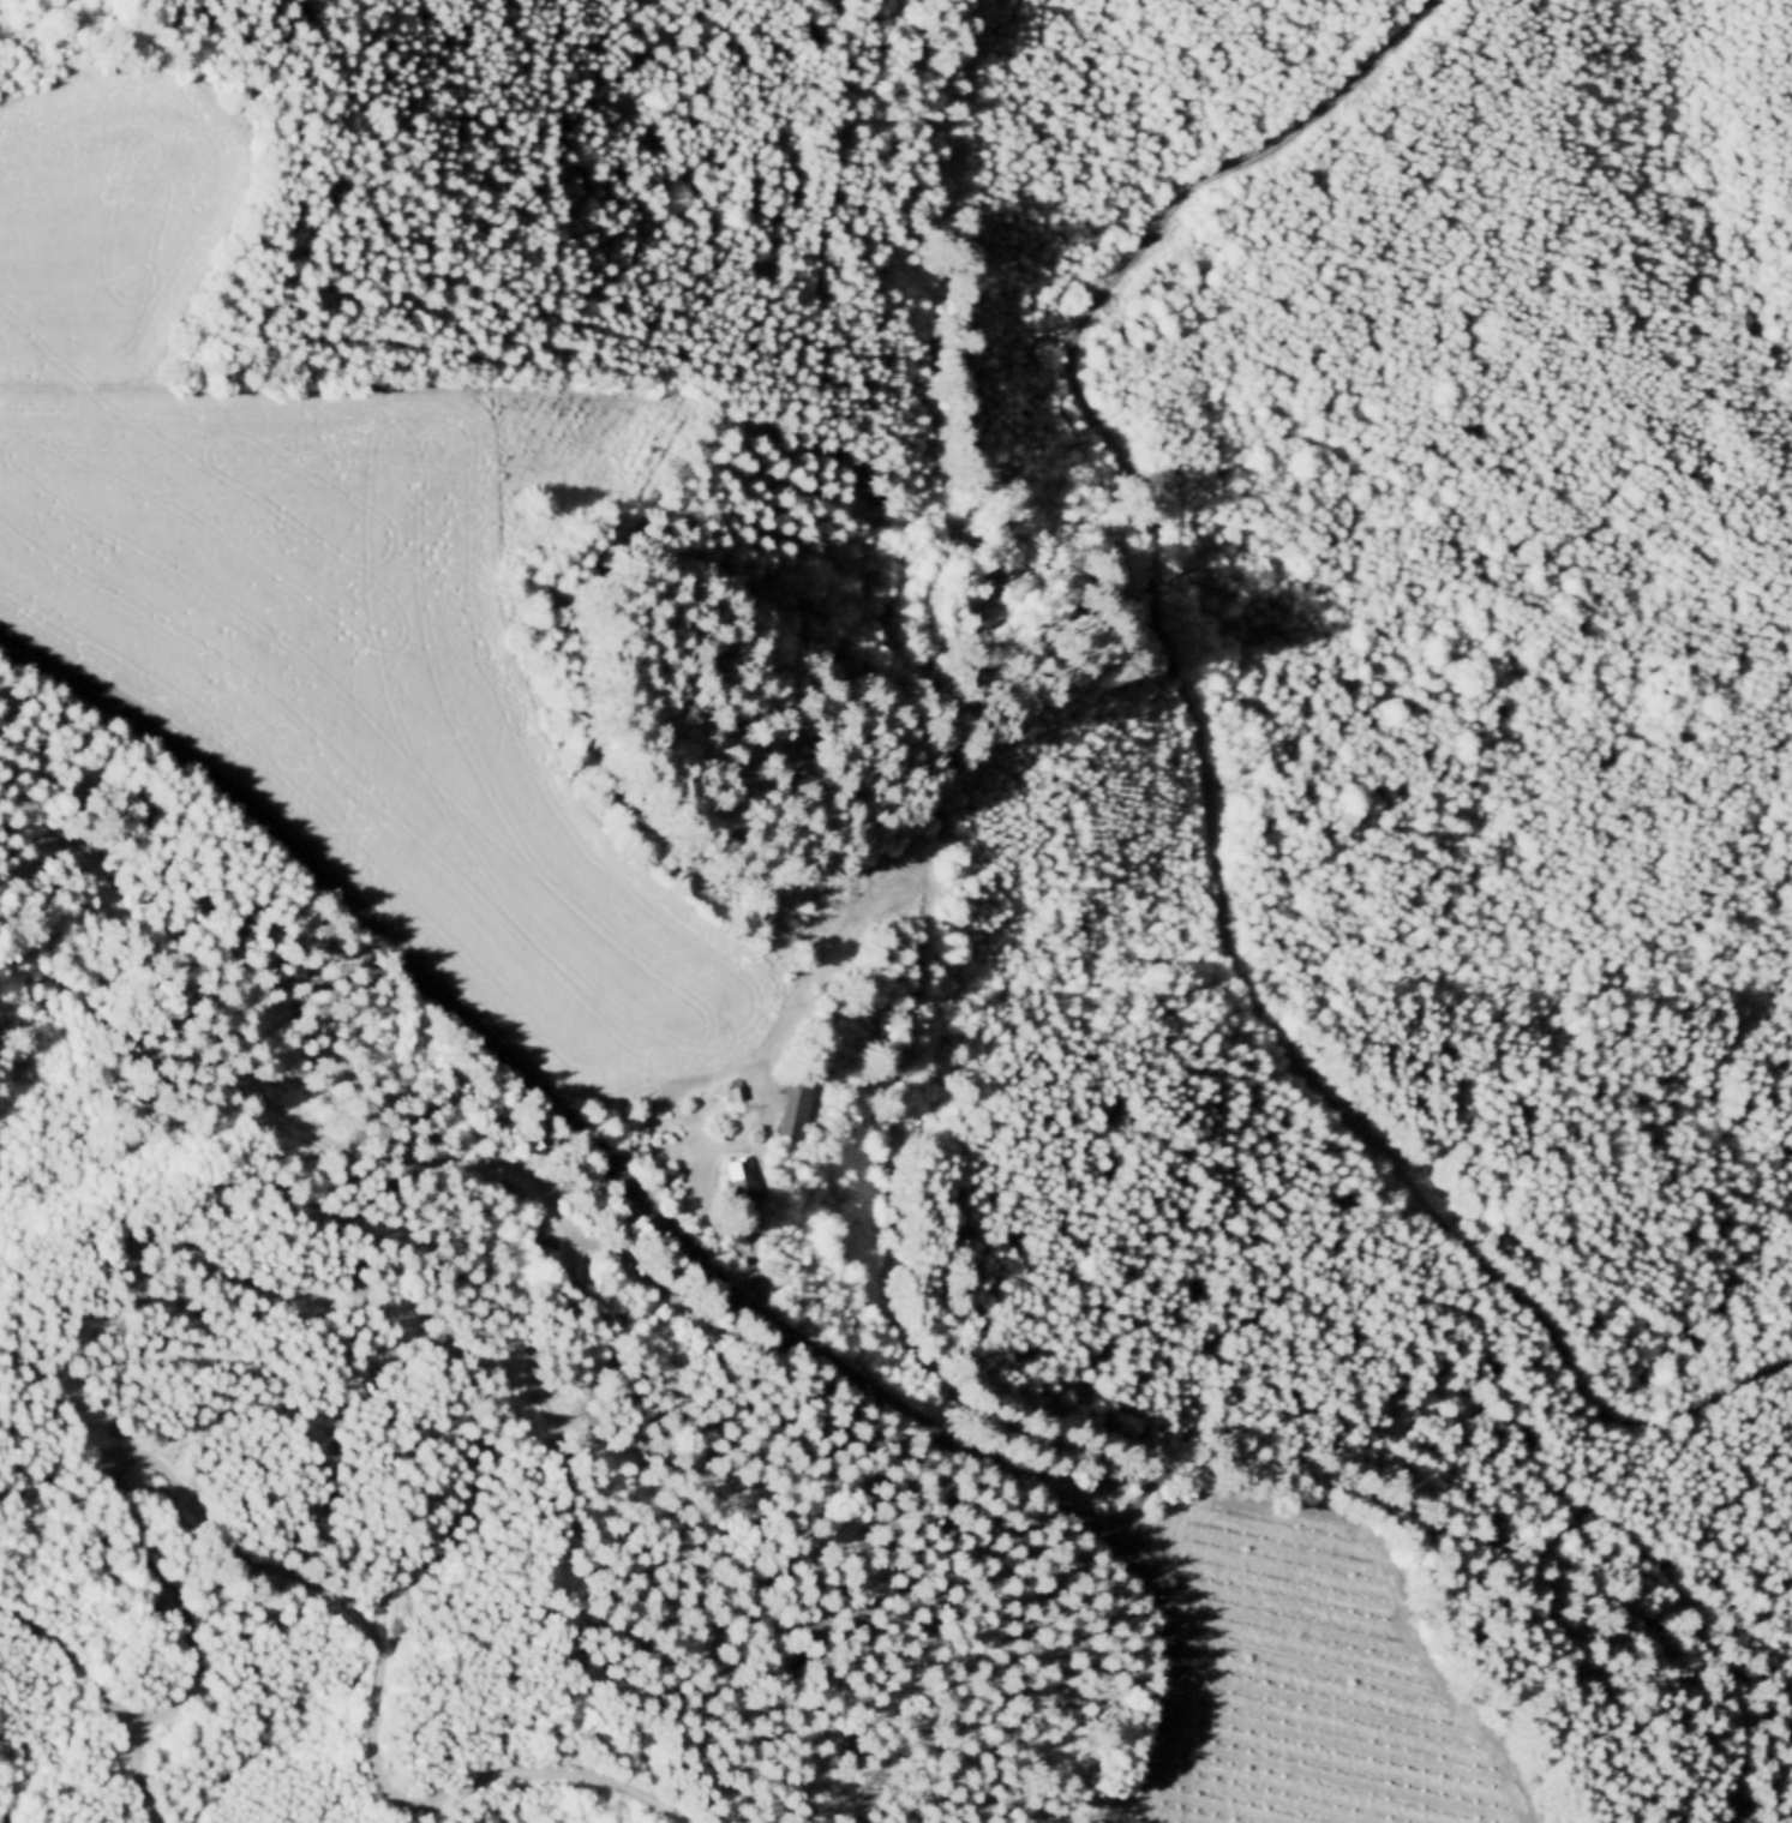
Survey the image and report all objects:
road: (760, 36)
road: (76, 47)
crop: (104, 228)
road: (215, 260)
road: (496, 316)
crop: (359, 691)
road: (1207, 779)
building: (790, 1113)
road: (742, 1144)
building: (736, 1182)
road: (653, 1216)
road: (1437, 1530)
road: (288, 1575)
crop: (1297, 1684)

